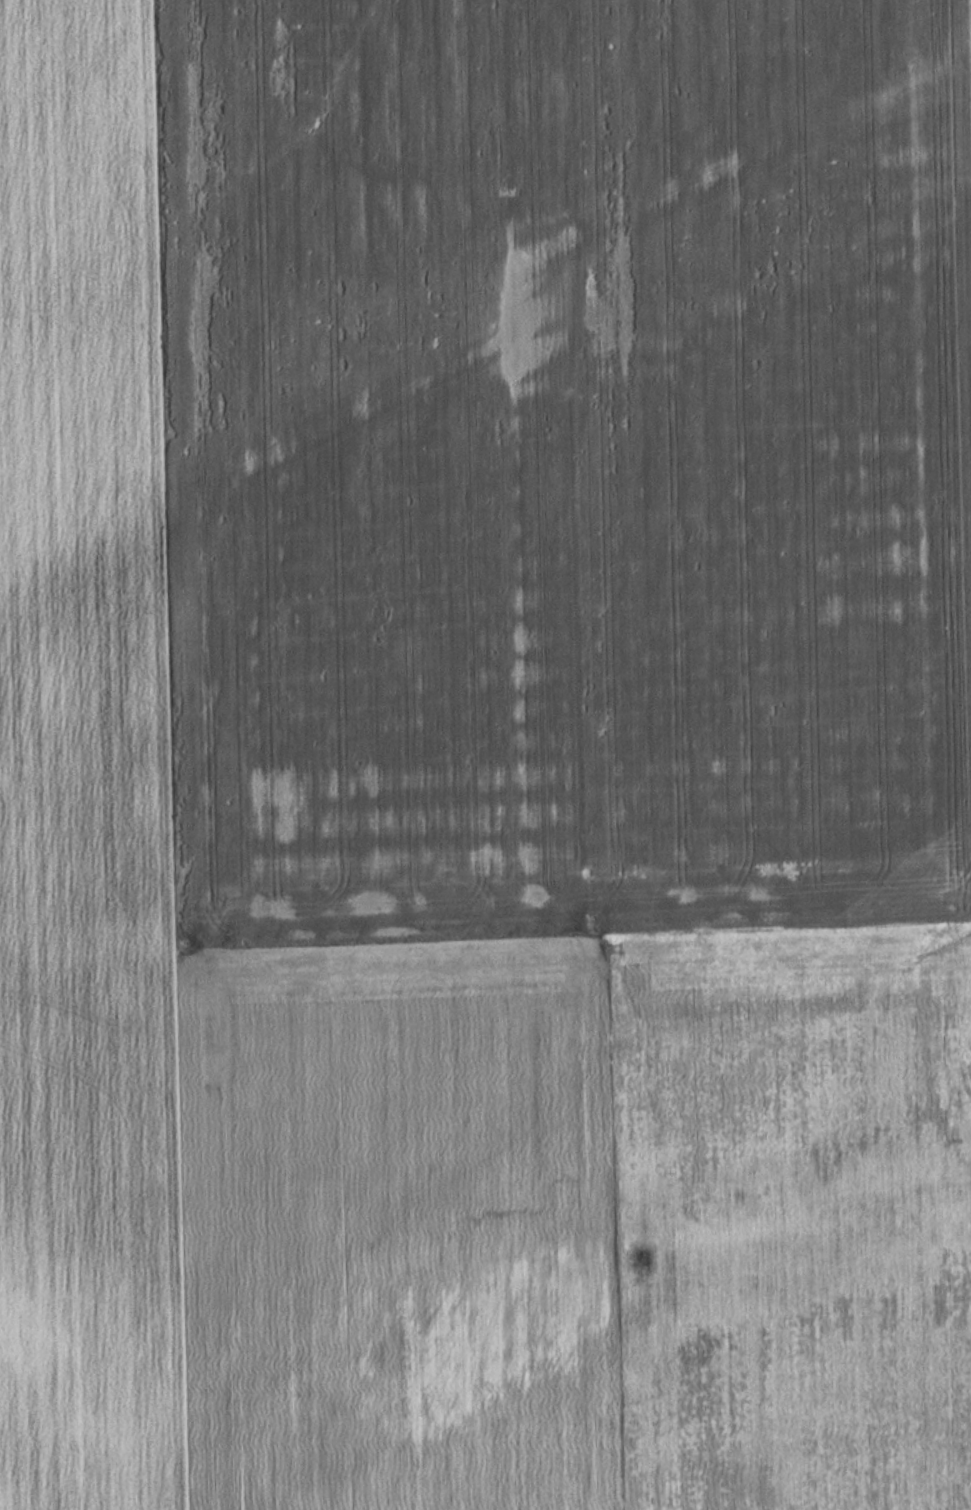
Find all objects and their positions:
crop: (550, 462)
crop: (77, 489)
crop: (491, 1227)

